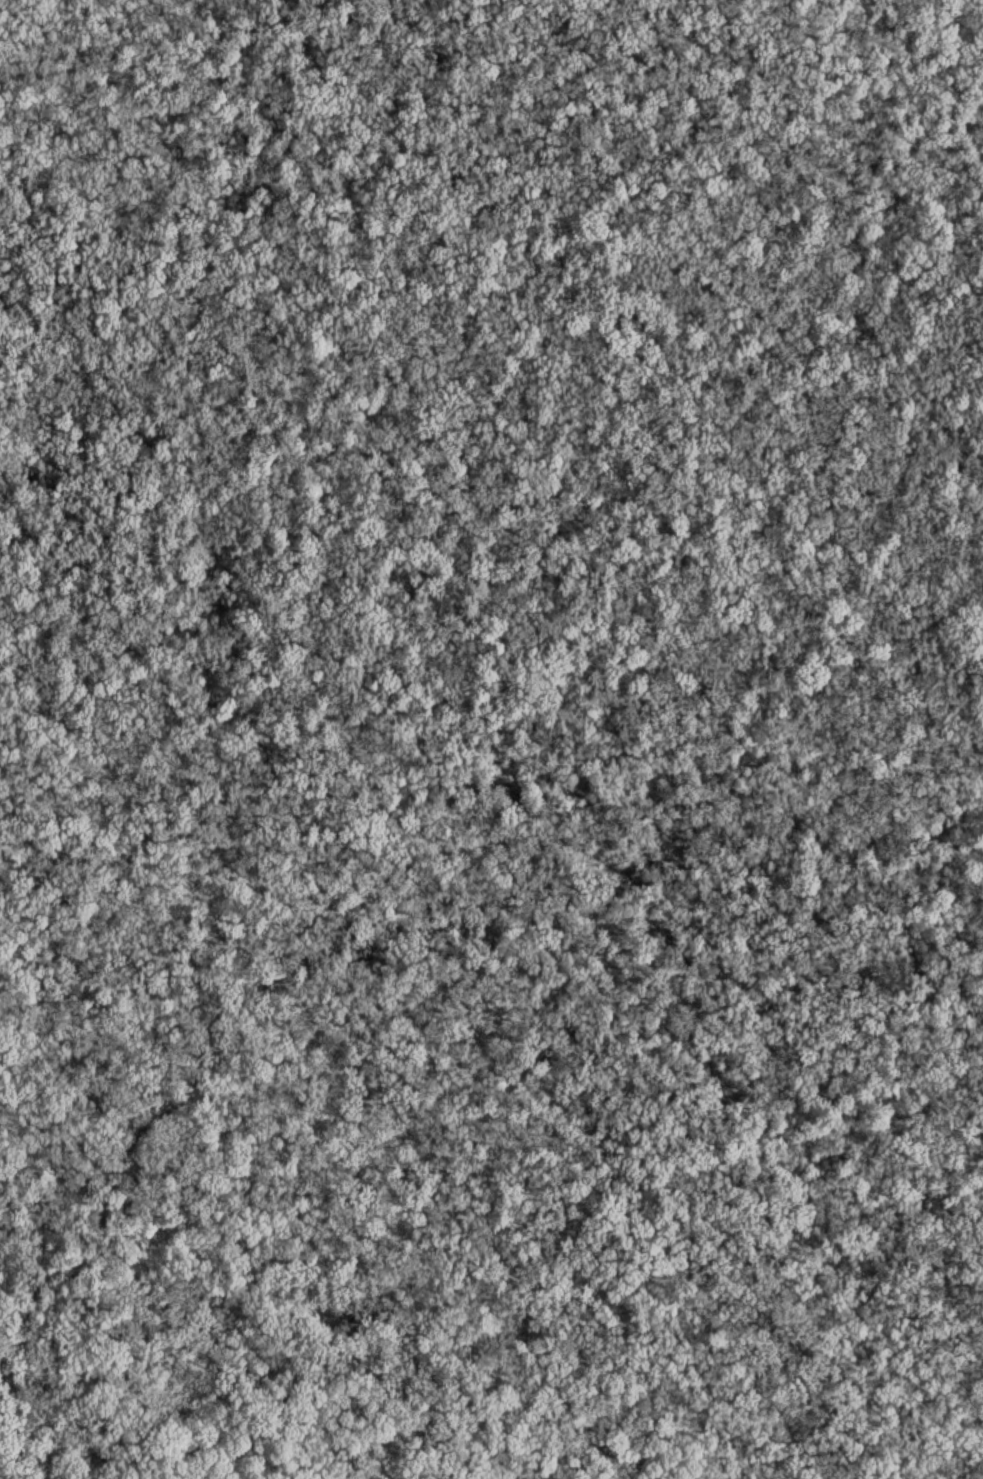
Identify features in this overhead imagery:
road: (21, 124)

